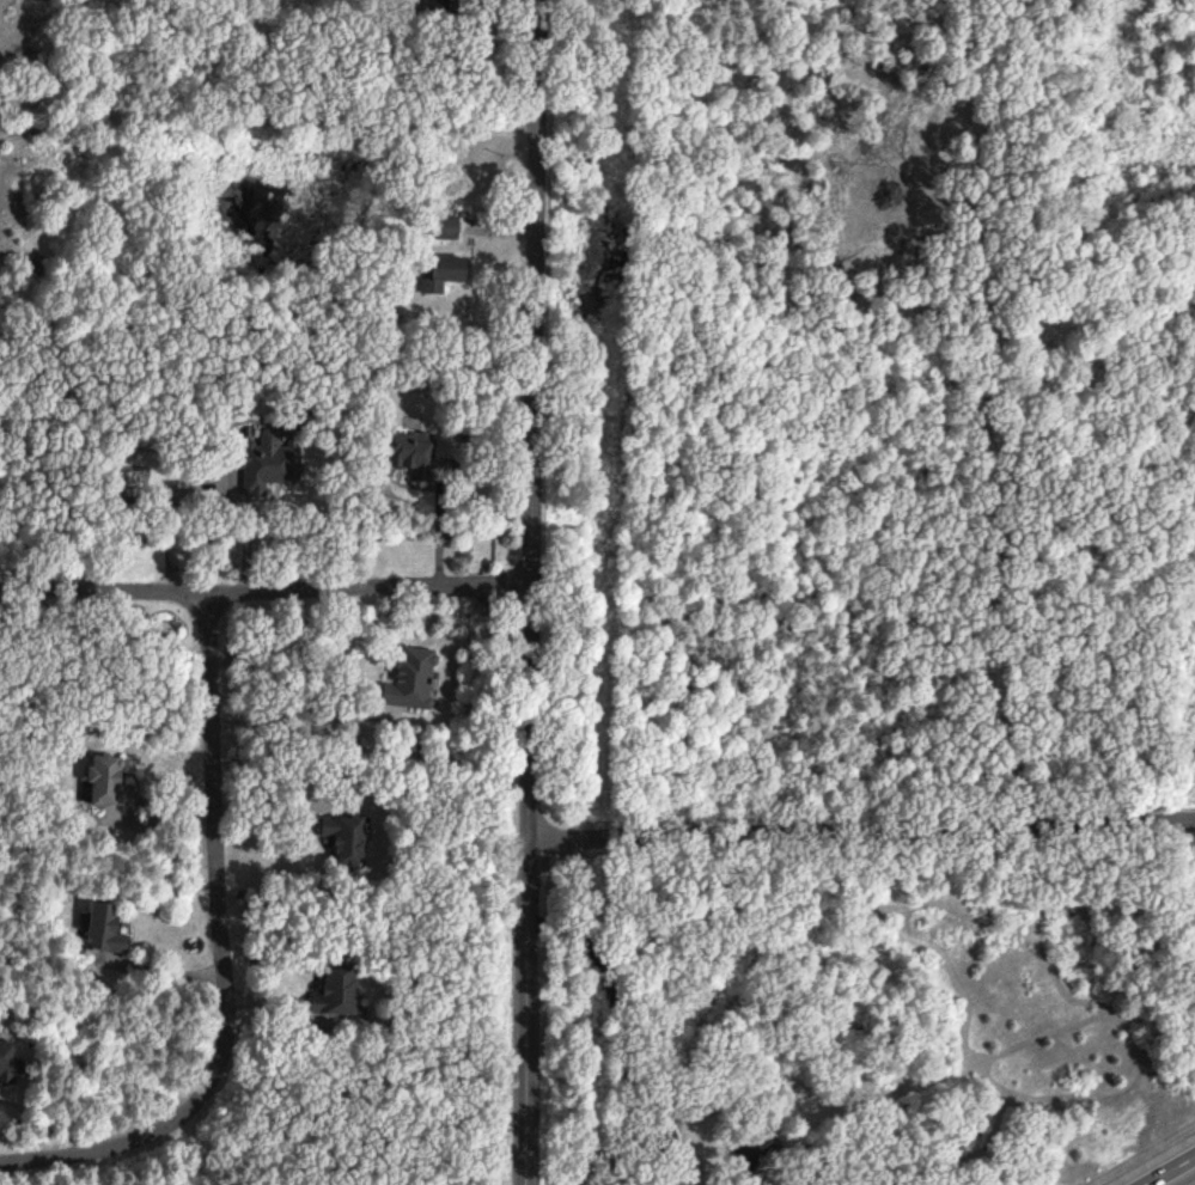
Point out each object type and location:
building: (44, 1)
building: (439, 8)
road: (268, 117)
building: (449, 230)
building: (445, 274)
building: (411, 452)
building: (267, 466)
road: (172, 515)
road: (264, 592)
road: (529, 592)
building: (413, 682)
road: (299, 710)
building: (109, 781)
road: (276, 805)
road: (860, 831)
building: (348, 839)
building: (110, 931)
road: (222, 958)
building: (341, 994)
building: (10, 1065)
building: (760, 1147)
road: (1164, 1167)

